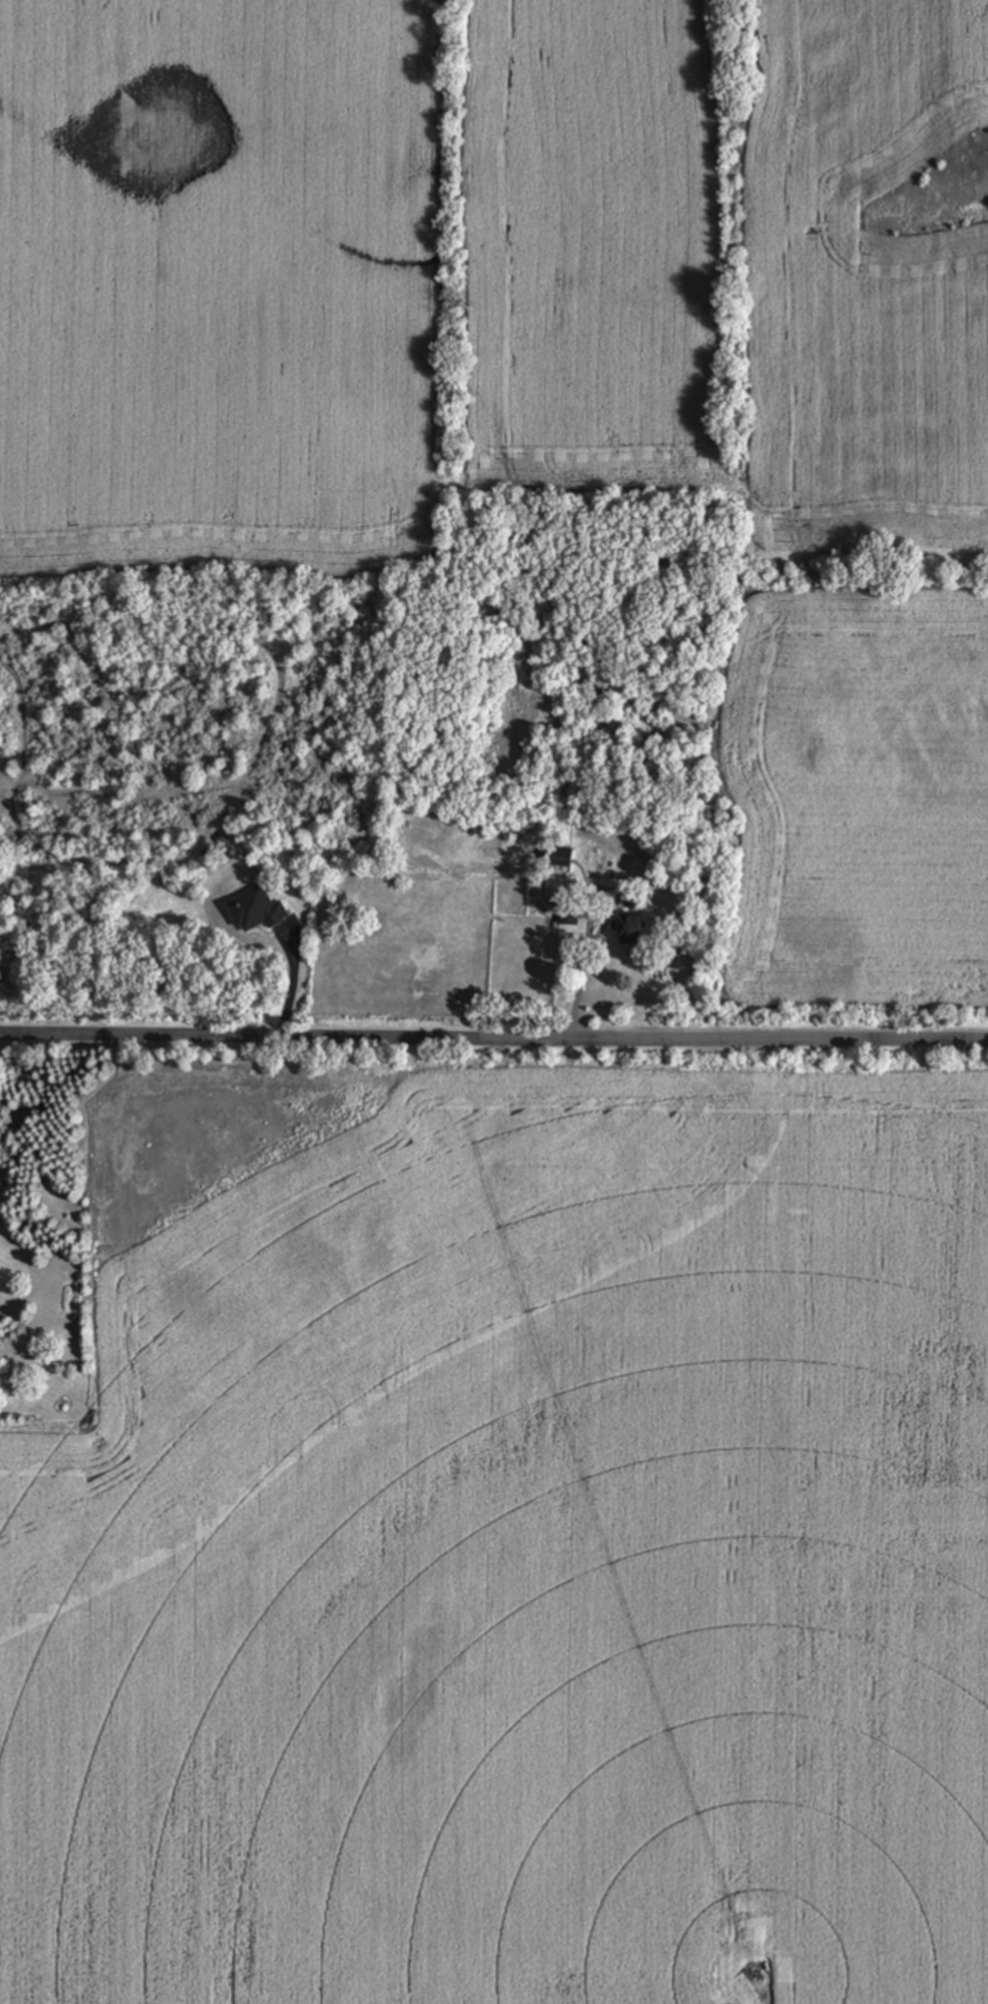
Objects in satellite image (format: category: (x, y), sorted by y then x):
building: (256, 911)
building: (631, 930)
road: (582, 970)
road: (293, 984)
road: (494, 1038)

